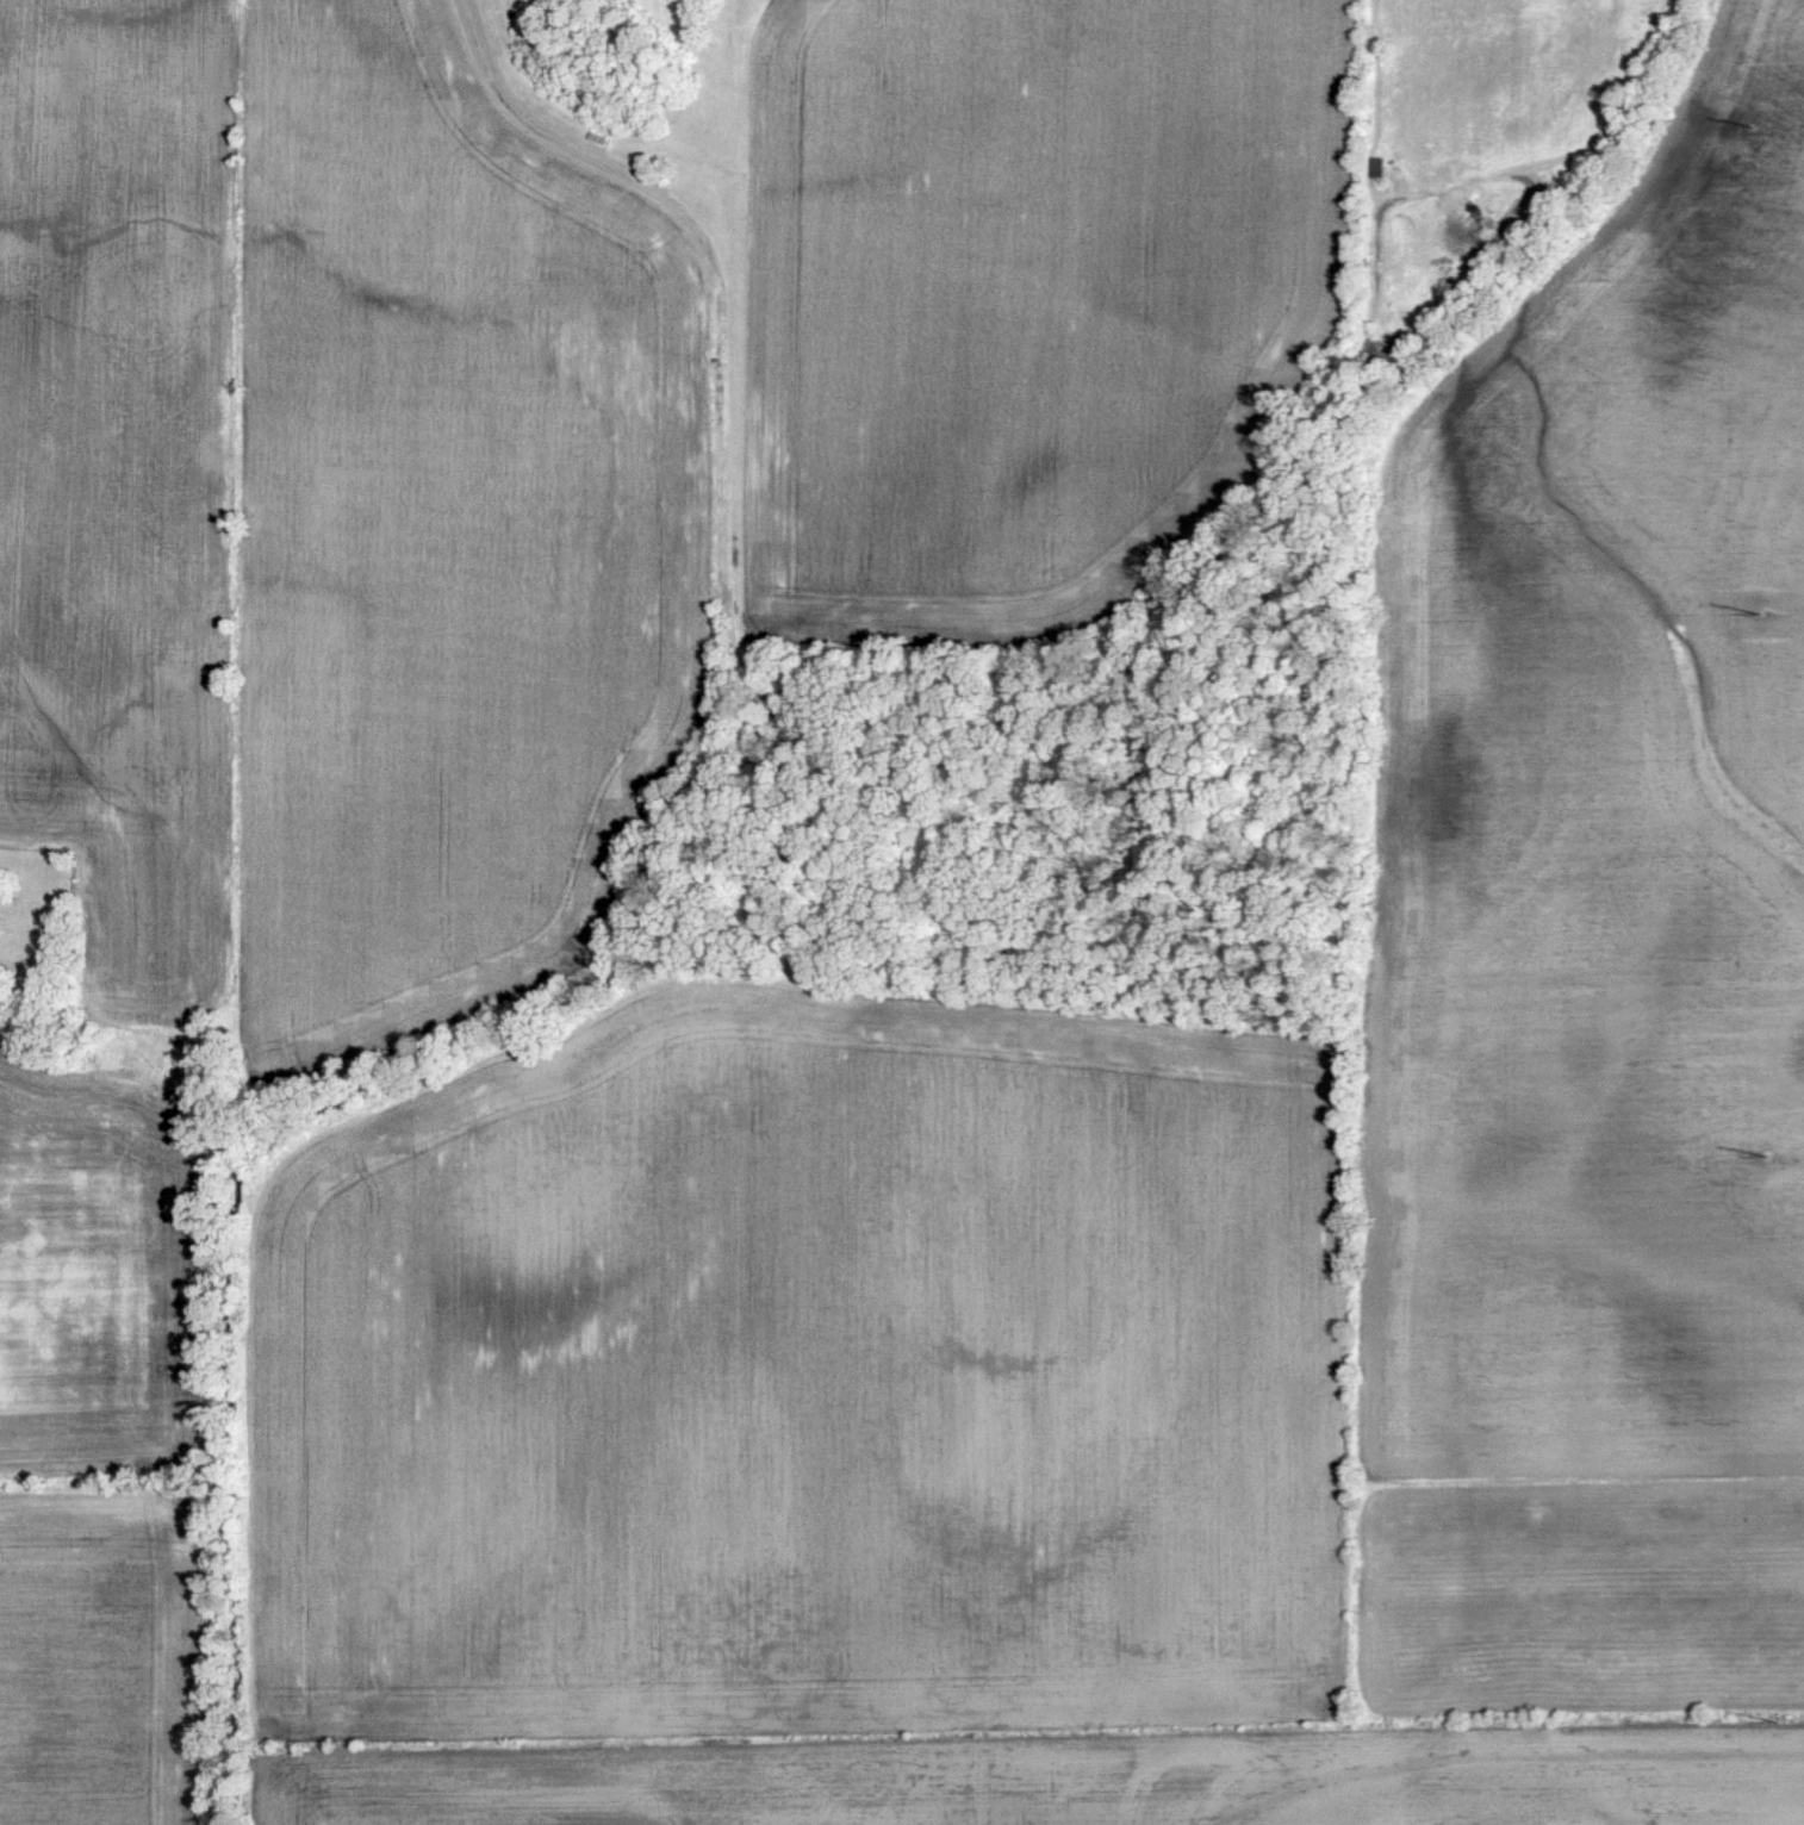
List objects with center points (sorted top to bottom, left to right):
power tower: (1753, 124)
crop: (1026, 294)
crop: (118, 353)
crop: (458, 528)
power tower: (1759, 612)
crop: (1598, 822)
crop: (139, 882)
park: (38, 946)
power tower: (1767, 1153)
crop: (108, 1273)
crop: (798, 1372)
crop: (1584, 1601)
crop: (110, 1650)
power tower: (1777, 1721)
crop: (1046, 1779)

